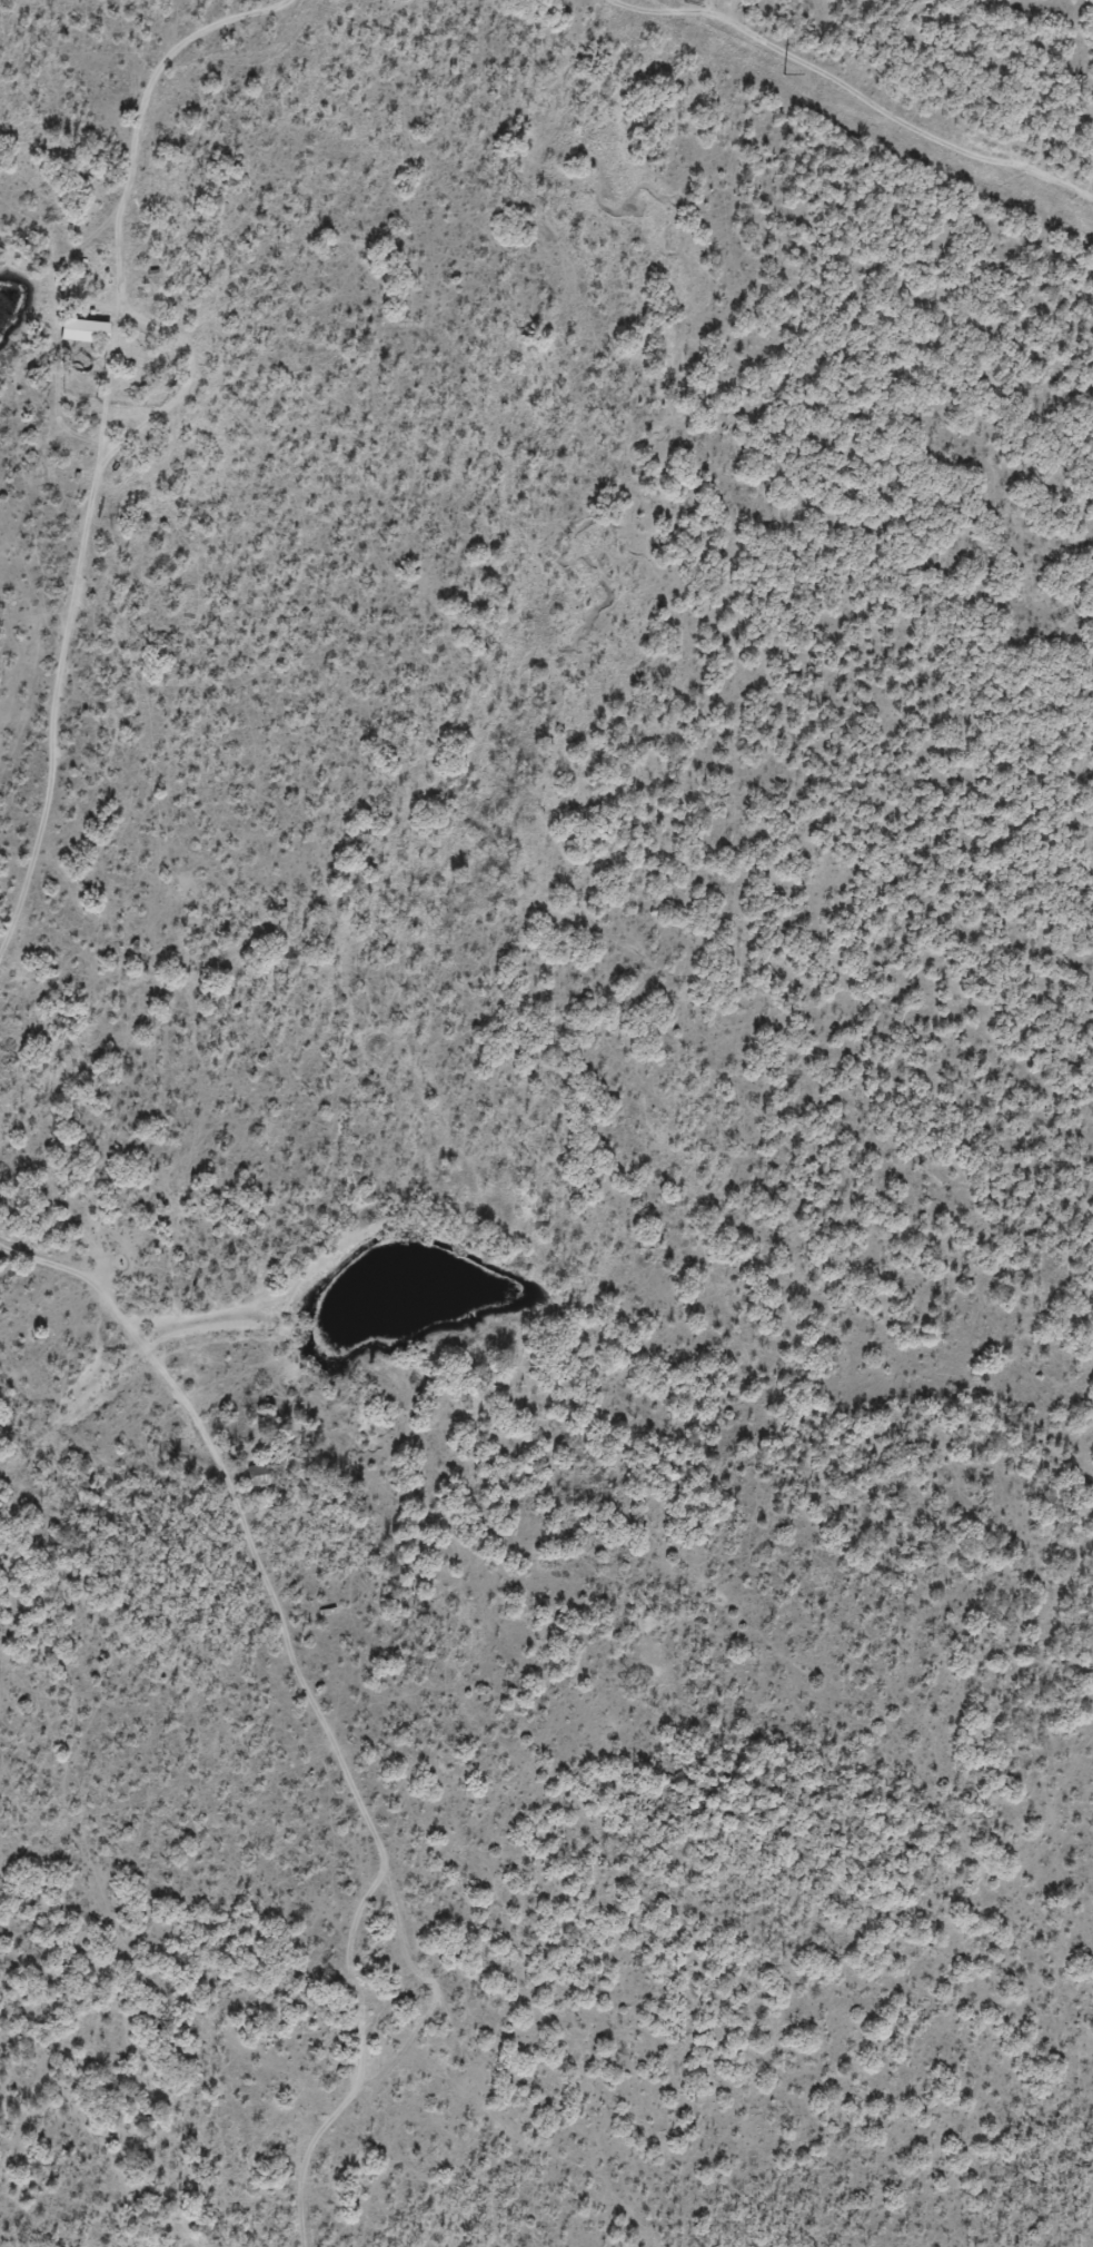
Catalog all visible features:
road: (713, 30)
road: (166, 147)
road: (900, 161)

